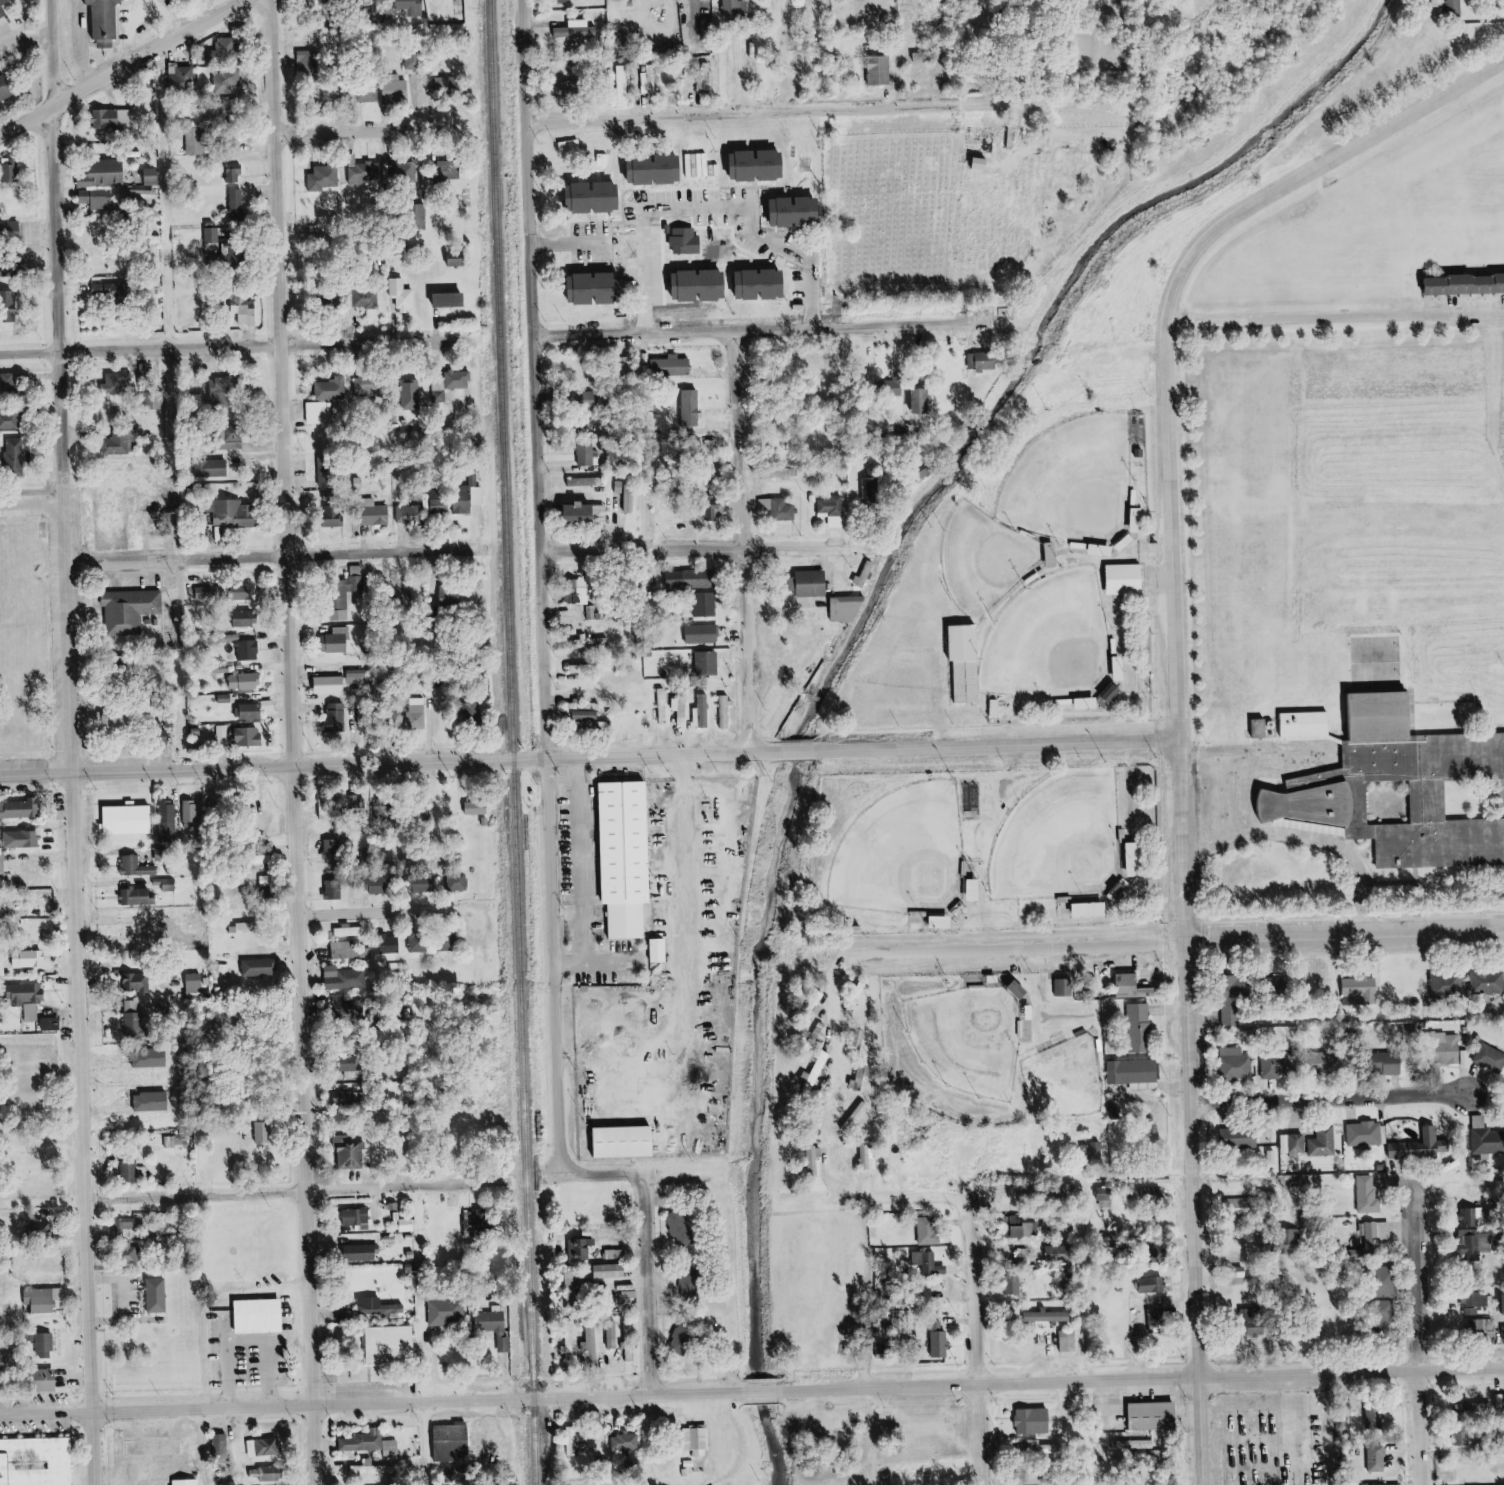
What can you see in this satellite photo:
building: (565, 1)
building: (330, 3)
building: (411, 7)
building: (1456, 7)
building: (6, 8)
building: (735, 8)
road: (150, 15)
building: (114, 21)
building: (579, 31)
road: (27, 39)
road: (88, 41)
building: (226, 49)
road: (57, 51)
building: (309, 61)
road: (120, 67)
building: (881, 71)
building: (184, 78)
building: (227, 82)
building: (444, 83)
building: (622, 86)
building: (9, 88)
building: (568, 88)
building: (397, 91)
building: (340, 93)
building: (370, 94)
road: (783, 112)
building: (114, 119)
road: (335, 129)
building: (198, 141)
building: (761, 165)
building: (661, 169)
building: (405, 170)
building: (20, 172)
building: (107, 173)
building: (366, 174)
building: (154, 175)
building: (235, 175)
building: (326, 179)
building: (0, 182)
road: (727, 190)
building: (598, 196)
building: (99, 199)
building: (238, 203)
building: (798, 210)
building: (215, 235)
building: (683, 240)
road: (587, 241)
building: (16, 249)
building: (220, 258)
building: (457, 258)
building: (703, 284)
building: (1465, 285)
building: (601, 288)
building: (112, 290)
building: (403, 295)
building: (368, 299)
building: (451, 299)
building: (15, 306)
building: (245, 312)
road: (1342, 318)
road: (762, 324)
road: (236, 342)
building: (984, 361)
building: (673, 366)
building: (459, 380)
building: (118, 381)
building: (9, 382)
building: (367, 388)
building: (330, 389)
building: (225, 391)
building: (413, 394)
building: (439, 394)
building: (693, 408)
building: (319, 413)
building: (679, 413)
building: (9, 420)
building: (235, 438)
building: (121, 443)
building: (10, 455)
building: (587, 457)
building: (217, 468)
building: (328, 475)
park: (1090, 484)
building: (871, 491)
building: (458, 500)
road: (35, 505)
building: (831, 506)
building: (780, 508)
building: (232, 513)
building: (583, 513)
building: (409, 514)
building: (372, 516)
building: (338, 519)
building: (164, 522)
road: (749, 537)
road: (156, 546)
road: (693, 546)
road: (275, 554)
park: (998, 560)
building: (357, 578)
building: (1128, 578)
building: (690, 579)
building: (815, 583)
building: (241, 592)
building: (207, 593)
building: (450, 596)
building: (584, 596)
building: (854, 598)
road: (105, 600)
building: (706, 605)
building: (139, 609)
building: (704, 634)
park: (38, 641)
building: (337, 641)
park: (1064, 643)
building: (249, 650)
building: (708, 663)
building: (969, 663)
building: (247, 681)
building: (332, 685)
road: (1184, 690)
building: (225, 698)
building: (269, 705)
building: (682, 708)
building: (474, 710)
building: (250, 711)
building: (704, 711)
building: (727, 712)
building: (1388, 713)
building: (419, 714)
building: (177, 717)
building: (336, 717)
building: (119, 722)
building: (1313, 725)
road: (1003, 727)
building: (223, 731)
building: (249, 737)
road: (301, 742)
railway: (511, 742)
road: (179, 745)
road: (593, 756)
park: (1017, 770)
road: (552, 780)
road: (82, 793)
building: (1321, 798)
building: (1436, 800)
building: (477, 808)
building: (20, 809)
building: (192, 812)
building: (136, 818)
building: (169, 822)
building: (23, 839)
road: (1315, 840)
park: (1082, 846)
building: (334, 850)
building: (634, 852)
road: (122, 853)
park: (923, 857)
building: (1137, 859)
building: (3, 864)
building: (138, 867)
building: (268, 880)
building: (459, 881)
building: (167, 884)
building: (426, 885)
building: (335, 888)
road: (595, 888)
building: (1125, 891)
building: (139, 897)
road: (1428, 900)
road: (475, 906)
road: (386, 909)
building: (1094, 909)
building: (350, 931)
road: (1349, 935)
building: (420, 944)
building: (391, 945)
building: (354, 950)
building: (661, 950)
road: (956, 951)
building: (30, 959)
road: (579, 964)
building: (260, 967)
building: (345, 978)
building: (1488, 981)
building: (137, 983)
building: (196, 983)
building: (1134, 986)
building: (1448, 986)
building: (1065, 987)
building: (1363, 988)
building: (28, 994)
building: (347, 1005)
road: (699, 1009)
building: (32, 1013)
building: (134, 1013)
building: (50, 1024)
building: (1138, 1026)
park: (979, 1032)
building: (1489, 1057)
building: (1329, 1059)
building: (1236, 1063)
building: (1391, 1064)
building: (1277, 1066)
building: (818, 1072)
building: (1135, 1073)
park: (1081, 1074)
building: (347, 1098)
road: (1340, 1099)
building: (1482, 1121)
building: (262, 1132)
building: (1366, 1133)
building: (1240, 1138)
building: (629, 1142)
building: (1325, 1142)
building: (1489, 1142)
building: (1287, 1143)
building: (1299, 1144)
building: (1399, 1150)
building: (352, 1154)
building: (869, 1157)
building: (814, 1160)
building: (134, 1171)
road: (309, 1191)
building: (1368, 1194)
road: (896, 1199)
building: (358, 1217)
building: (1472, 1217)
building: (482, 1224)
building: (407, 1225)
building: (124, 1227)
building: (684, 1227)
building: (1027, 1230)
building: (930, 1232)
building: (1370, 1234)
building: (1483, 1246)
building: (1439, 1250)
building: (363, 1252)
building: (926, 1260)
building: (612, 1270)
road: (1094, 1278)
building: (692, 1284)
building: (1016, 1284)
building: (1151, 1285)
building: (159, 1296)
building: (1476, 1300)
building: (42, 1301)
building: (1502, 1304)
building: (380, 1306)
building: (348, 1310)
building: (448, 1312)
building: (1048, 1316)
building: (253, 1317)
building: (1160, 1321)
building: (497, 1325)
road: (984, 1327)
building: (1476, 1327)
building: (687, 1333)
building: (1502, 1333)
road: (1427, 1334)
building: (614, 1336)
building: (941, 1339)
building: (1069, 1340)
building: (40, 1342)
building: (593, 1342)
building: (394, 1343)
building: (48, 1346)
building: (571, 1347)
building: (10, 1362)
building: (50, 1380)
road: (751, 1392)
building: (1157, 1415)
building: (1376, 1418)
building: (1035, 1421)
building: (365, 1441)
building: (581, 1441)
building: (697, 1441)
building: (453, 1442)
building: (627, 1442)
road: (439, 1443)
building: (222, 1445)
building: (265, 1446)
building: (1040, 1446)
building: (393, 1447)
building: (1378, 1460)
building: (37, 1461)
building: (375, 1469)
building: (468, 1472)
building: (273, 1473)
building: (188, 1481)
building: (1381, 1484)

